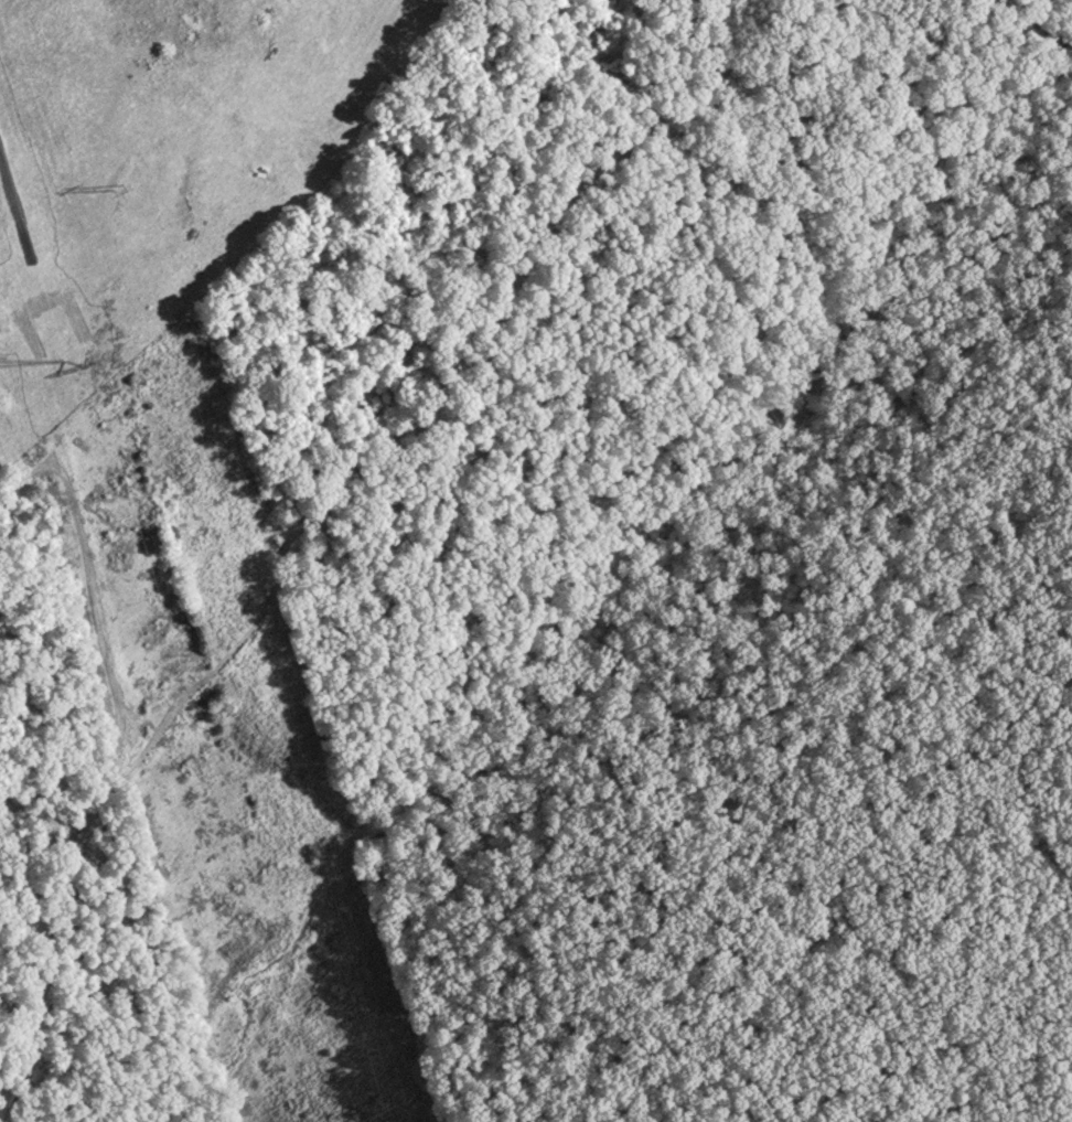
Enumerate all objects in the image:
power tower: (121, 189)
power tower: (63, 363)

